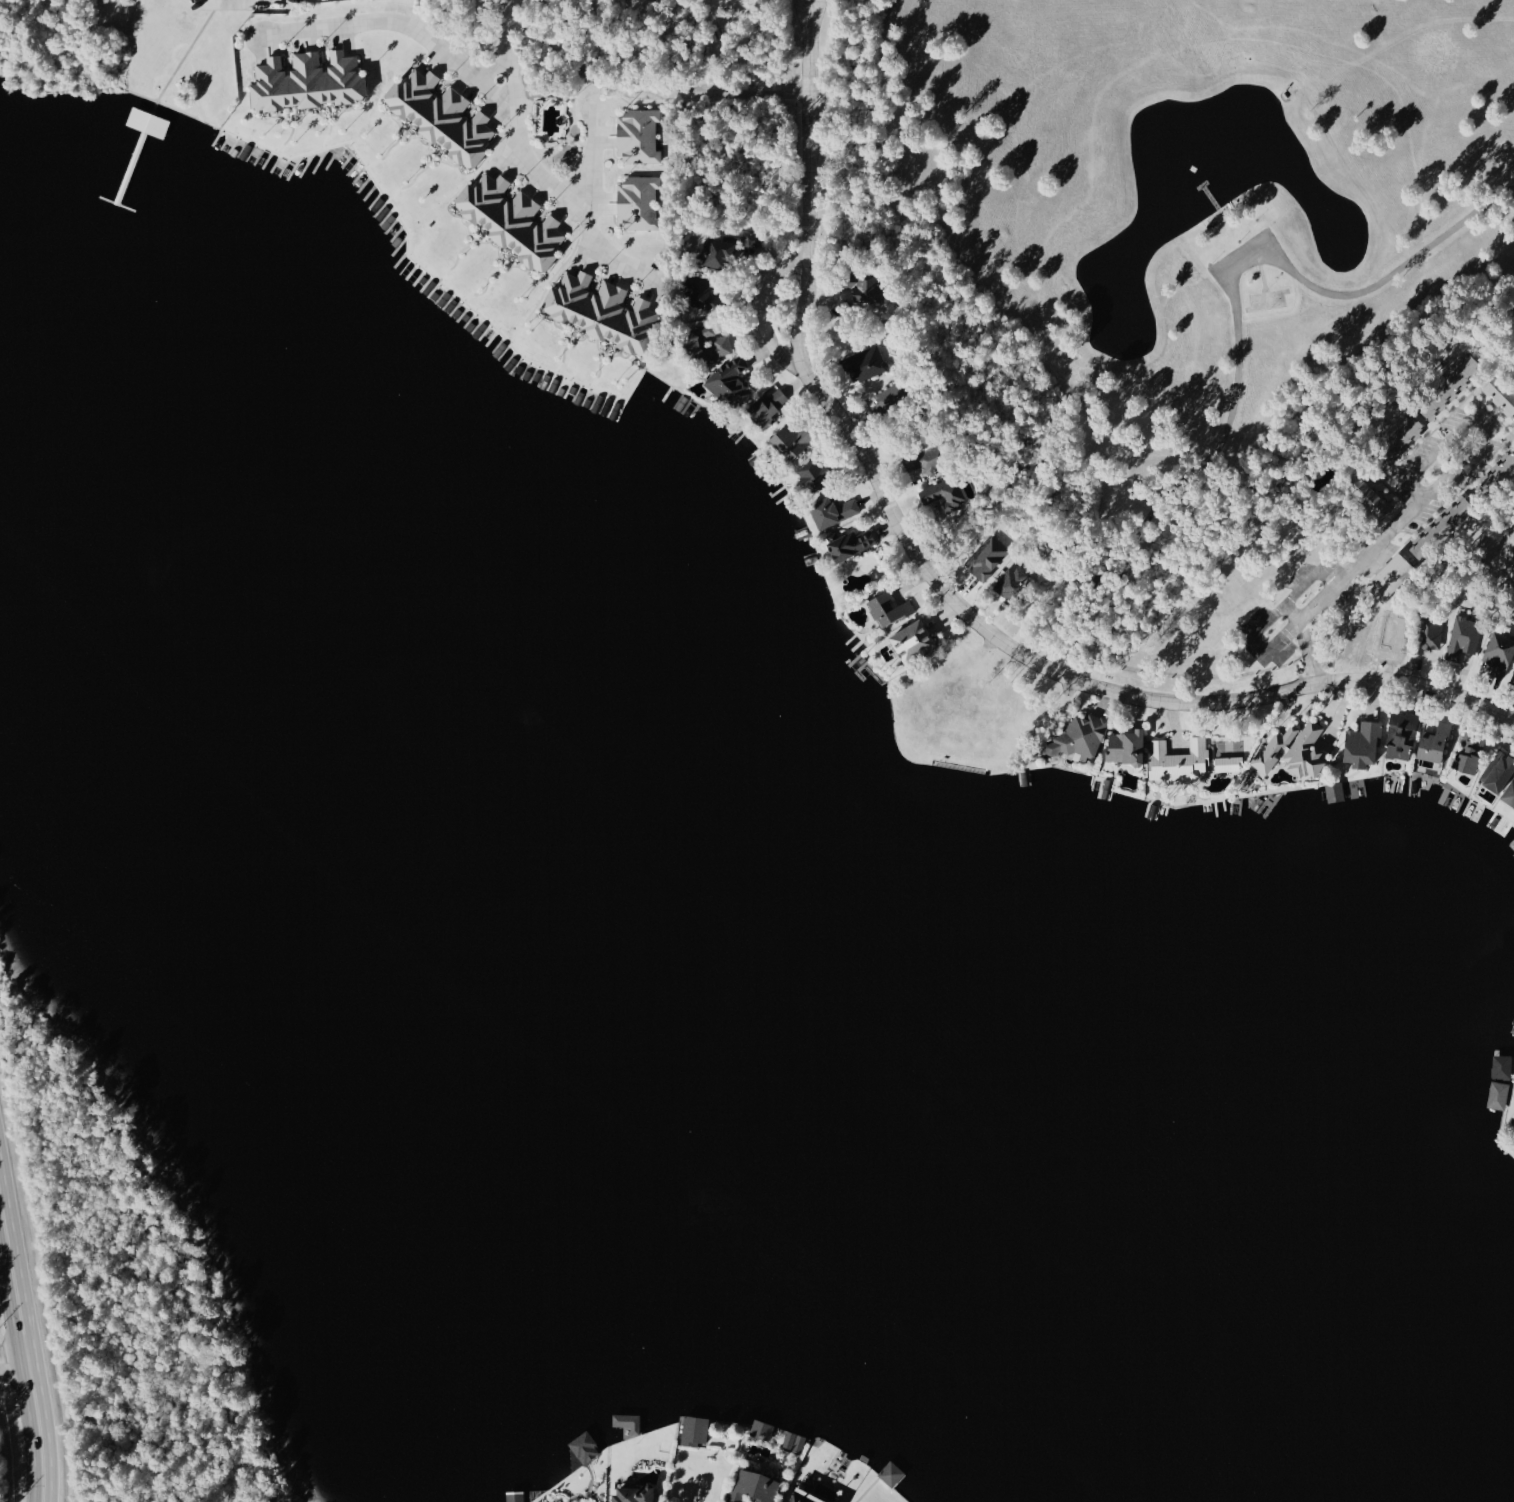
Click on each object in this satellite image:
road: (506, 28)
road: (450, 60)
road: (488, 69)
building: (306, 81)
road: (507, 87)
road: (742, 92)
building: (440, 116)
building: (147, 121)
building: (637, 135)
building: (637, 202)
building: (511, 220)
road: (585, 222)
building: (716, 251)
building: (862, 286)
building: (701, 291)
road: (760, 307)
building: (600, 311)
building: (705, 344)
building: (867, 363)
building: (730, 383)
building: (1449, 387)
building: (1500, 395)
building: (766, 408)
building: (1403, 436)
building: (792, 439)
building: (927, 456)
building: (813, 473)
building: (943, 492)
building: (829, 510)
building: (1442, 528)
building: (846, 546)
road: (1366, 551)
park: (1477, 558)
building: (1389, 576)
road: (938, 581)
building: (1007, 583)
building: (888, 609)
building: (1430, 632)
building: (1463, 638)
building: (1499, 654)
building: (1512, 677)
building: (1401, 735)
building: (1079, 738)
building: (1433, 743)
building: (1362, 744)
building: (1126, 747)
building: (1294, 750)
building: (1468, 754)
building: (1178, 762)
building: (1498, 772)
building: (1334, 792)
building: (1509, 795)
building: (1501, 1066)
building: (1497, 1095)
road: (11, 1362)
road: (23, 1364)
building: (627, 1421)
building: (694, 1429)
building: (761, 1429)
building: (793, 1441)
building: (584, 1446)
building: (890, 1473)
building: (753, 1485)
building: (632, 1493)
building: (514, 1497)
building: (804, 1497)

